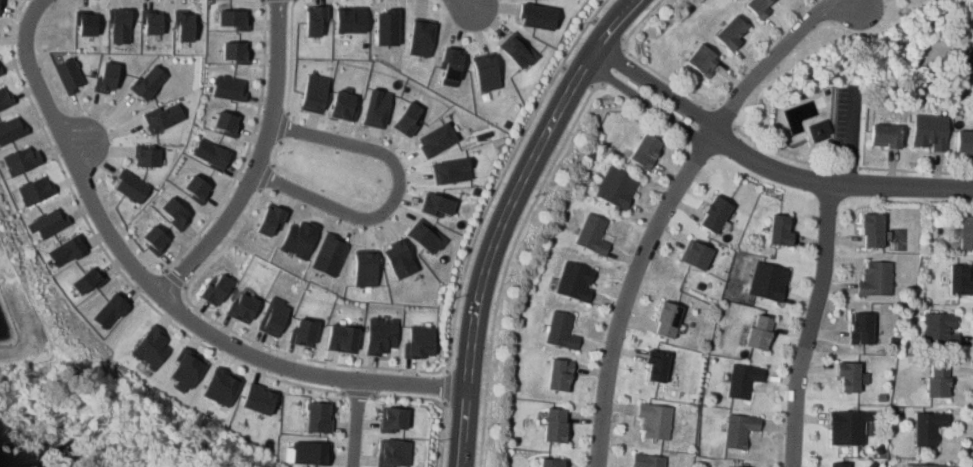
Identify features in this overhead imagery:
building: (0, 3)
building: (759, 6)
building: (536, 16)
building: (234, 18)
building: (350, 19)
road: (594, 19)
building: (314, 20)
building: (151, 21)
building: (86, 22)
road: (637, 24)
building: (120, 25)
building: (184, 25)
road: (613, 25)
building: (386, 27)
road: (608, 29)
building: (732, 33)
building: (421, 37)
road: (624, 39)
building: (518, 50)
building: (236, 51)
road: (290, 54)
building: (702, 60)
building: (450, 65)
building: (968, 65)
road: (563, 66)
road: (612, 66)
building: (0, 72)
building: (486, 73)
building: (69, 74)
road: (578, 75)
building: (107, 77)
road: (669, 80)
building: (148, 81)
road: (592, 86)
building: (229, 88)
building: (314, 93)
building: (6, 98)
building: (343, 106)
building: (376, 108)
building: (163, 117)
road: (724, 117)
building: (407, 119)
building: (227, 123)
road: (284, 123)
building: (11, 129)
building: (818, 131)
building: (929, 133)
road: (851, 135)
building: (885, 137)
building: (436, 139)
building: (964, 143)
road: (247, 148)
building: (645, 150)
road: (275, 151)
building: (210, 154)
building: (147, 155)
road: (785, 156)
building: (22, 160)
road: (258, 163)
road: (767, 165)
road: (850, 167)
building: (451, 170)
road: (915, 171)
road: (265, 175)
road: (501, 178)
building: (131, 186)
building: (197, 188)
building: (615, 188)
building: (36, 190)
road: (671, 192)
road: (396, 193)
building: (436, 204)
building: (175, 212)
road: (507, 212)
building: (714, 214)
building: (270, 219)
building: (48, 223)
building: (780, 231)
building: (872, 231)
building: (966, 233)
building: (592, 235)
building: (425, 236)
building: (299, 238)
building: (155, 239)
building: (66, 251)
building: (329, 254)
building: (695, 255)
road: (110, 256)
building: (398, 258)
road: (508, 262)
building: (364, 269)
road: (176, 278)
building: (87, 279)
building: (875, 279)
building: (960, 280)
building: (575, 281)
building: (767, 281)
building: (215, 289)
road: (156, 293)
building: (242, 307)
building: (110, 311)
building: (273, 315)
building: (667, 319)
road: (810, 325)
building: (860, 328)
building: (940, 329)
building: (560, 331)
building: (304, 332)
building: (760, 332)
building: (380, 335)
road: (244, 336)
building: (342, 338)
building: (419, 342)
building: (151, 347)
building: (656, 365)
building: (187, 367)
building: (559, 374)
building: (848, 376)
building: (742, 380)
building: (938, 380)
building: (221, 386)
road: (447, 386)
road: (359, 393)
road: (408, 396)
building: (259, 398)
building: (317, 417)
building: (393, 419)
building: (654, 420)
road: (355, 423)
building: (554, 424)
road: (463, 427)
building: (928, 427)
building: (846, 428)
building: (738, 429)
road: (443, 432)
building: (311, 452)
building: (393, 453)
building: (647, 460)
building: (549, 463)
building: (840, 464)
building: (926, 465)

